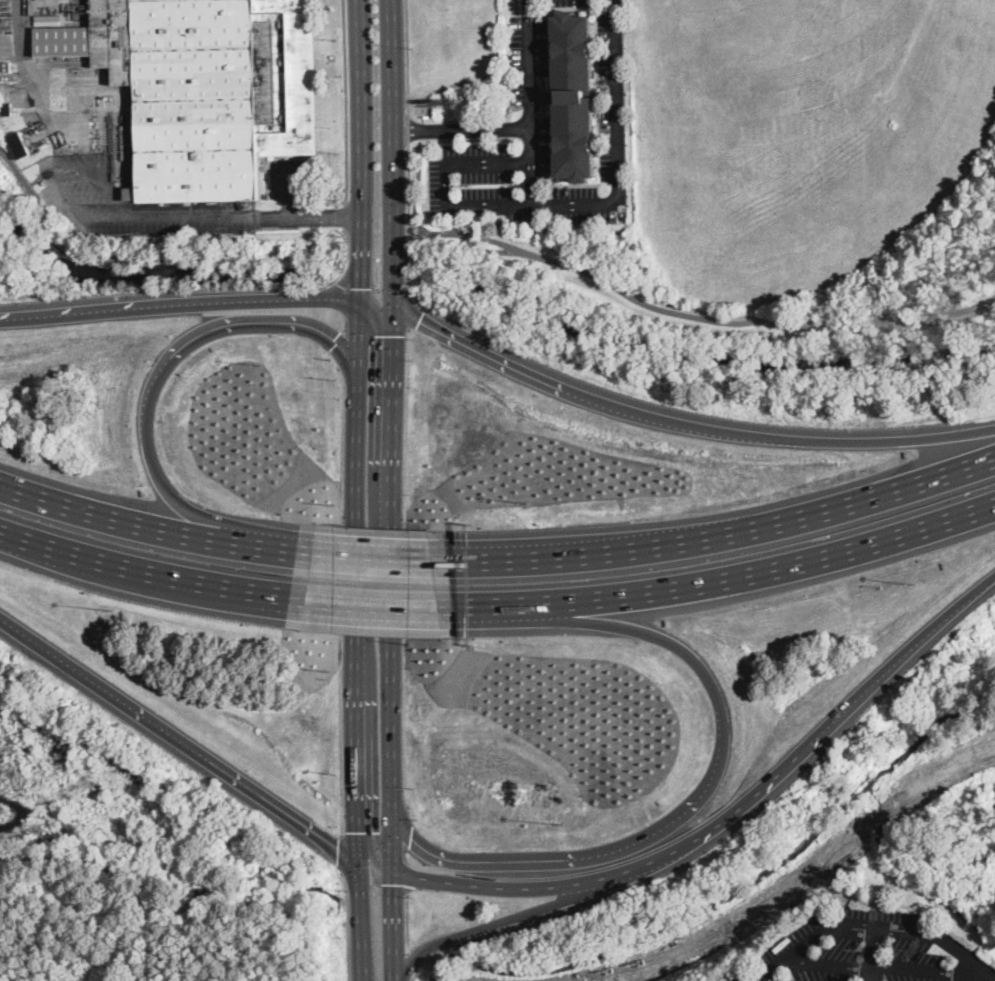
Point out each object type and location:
building: (64, 40)
road: (406, 56)
road: (33, 66)
building: (5, 67)
road: (531, 81)
building: (3, 87)
building: (211, 90)
building: (573, 97)
road: (346, 102)
building: (6, 110)
road: (462, 127)
road: (408, 128)
building: (20, 145)
road: (618, 146)
road: (363, 150)
road: (394, 150)
road: (409, 187)
road: (288, 189)
road: (445, 207)
road: (97, 216)
road: (311, 217)
road: (345, 217)
building: (615, 220)
road: (467, 233)
road: (348, 250)
road: (139, 256)
road: (408, 262)
traffic signals: (362, 287)
road: (180, 303)
road: (410, 310)
road: (701, 317)
road: (376, 318)
road: (344, 319)
traffic signals: (419, 320)
traffic signals: (392, 335)
road: (359, 339)
traffic signals: (336, 342)
road: (151, 390)
road: (681, 422)
road: (155, 527)
road: (720, 532)
road: (376, 555)
road: (404, 567)
road: (149, 569)
road: (729, 569)
road: (391, 585)
road: (341, 598)
road: (379, 601)
road: (356, 623)
road: (702, 666)
road: (181, 741)
road: (730, 815)
traffic signals: (359, 830)
traffic signals: (412, 834)
traffic signals: (338, 848)
road: (407, 850)
road: (374, 851)
road: (341, 852)
road: (483, 857)
traffic signals: (392, 884)
road: (517, 918)
road: (407, 923)
road: (360, 924)
road: (833, 924)
road: (347, 926)
road: (393, 926)
parking lot: (867, 950)
road: (966, 953)
road: (875, 954)
road: (827, 964)
road: (408, 967)
road: (934, 972)

